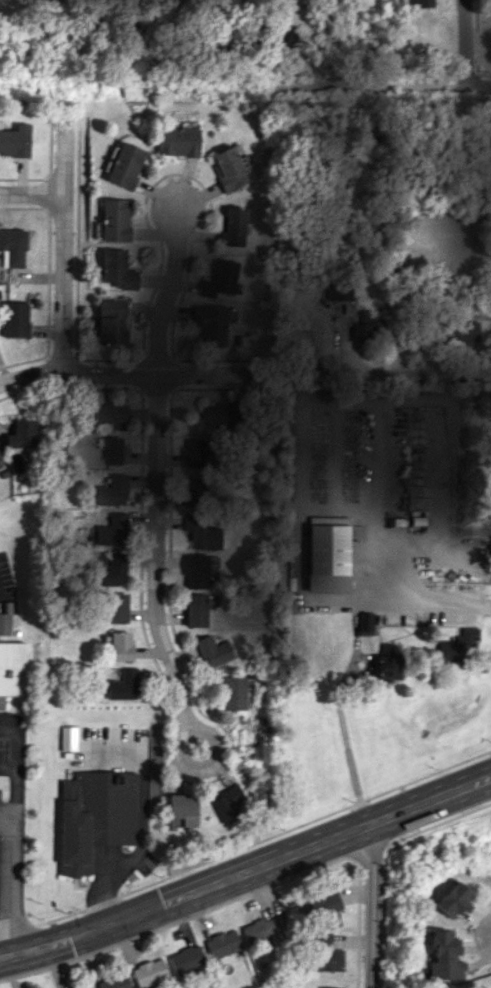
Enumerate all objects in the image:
building: (423, 3)
road: (464, 42)
road: (393, 86)
building: (14, 140)
building: (175, 142)
building: (124, 165)
building: (229, 167)
road: (32, 191)
building: (113, 220)
building: (231, 227)
building: (13, 247)
building: (115, 269)
road: (66, 273)
building: (220, 278)
building: (338, 290)
building: (14, 319)
building: (110, 322)
building: (211, 324)
building: (367, 327)
building: (466, 331)
road: (124, 374)
road: (423, 378)
building: (106, 413)
building: (217, 414)
building: (111, 448)
building: (194, 452)
building: (1, 463)
road: (158, 472)
building: (112, 491)
building: (194, 492)
building: (112, 530)
building: (201, 534)
building: (327, 554)
building: (111, 570)
building: (195, 571)
road: (407, 600)
building: (115, 607)
building: (195, 610)
building: (365, 623)
building: (5, 624)
building: (120, 646)
building: (457, 646)
building: (213, 651)
building: (387, 667)
building: (11, 669)
building: (122, 685)
building: (233, 692)
building: (68, 738)
road: (347, 753)
road: (189, 763)
road: (8, 767)
building: (228, 803)
road: (5, 806)
building: (182, 810)
building: (95, 816)
road: (142, 823)
road: (9, 833)
road: (246, 871)
building: (452, 901)
building: (320, 905)
road: (371, 905)
building: (258, 931)
building: (222, 944)
building: (326, 954)
building: (444, 955)
building: (186, 960)
building: (149, 972)
building: (114, 981)
building: (327, 987)

